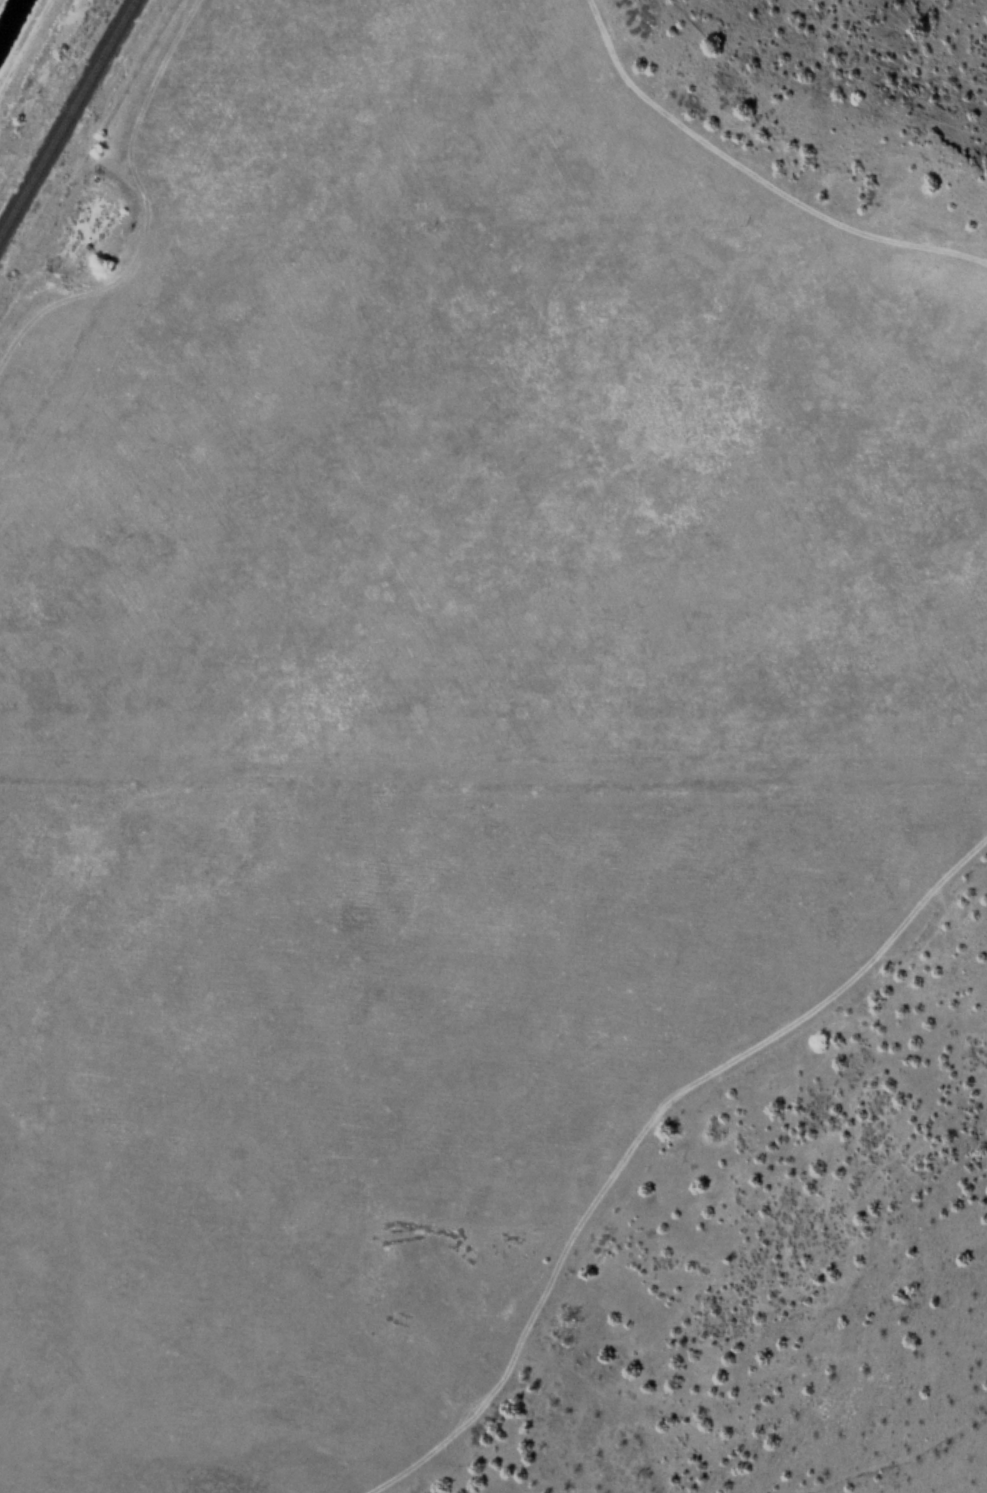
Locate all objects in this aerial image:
road: (23, 44)
railway: (65, 115)

